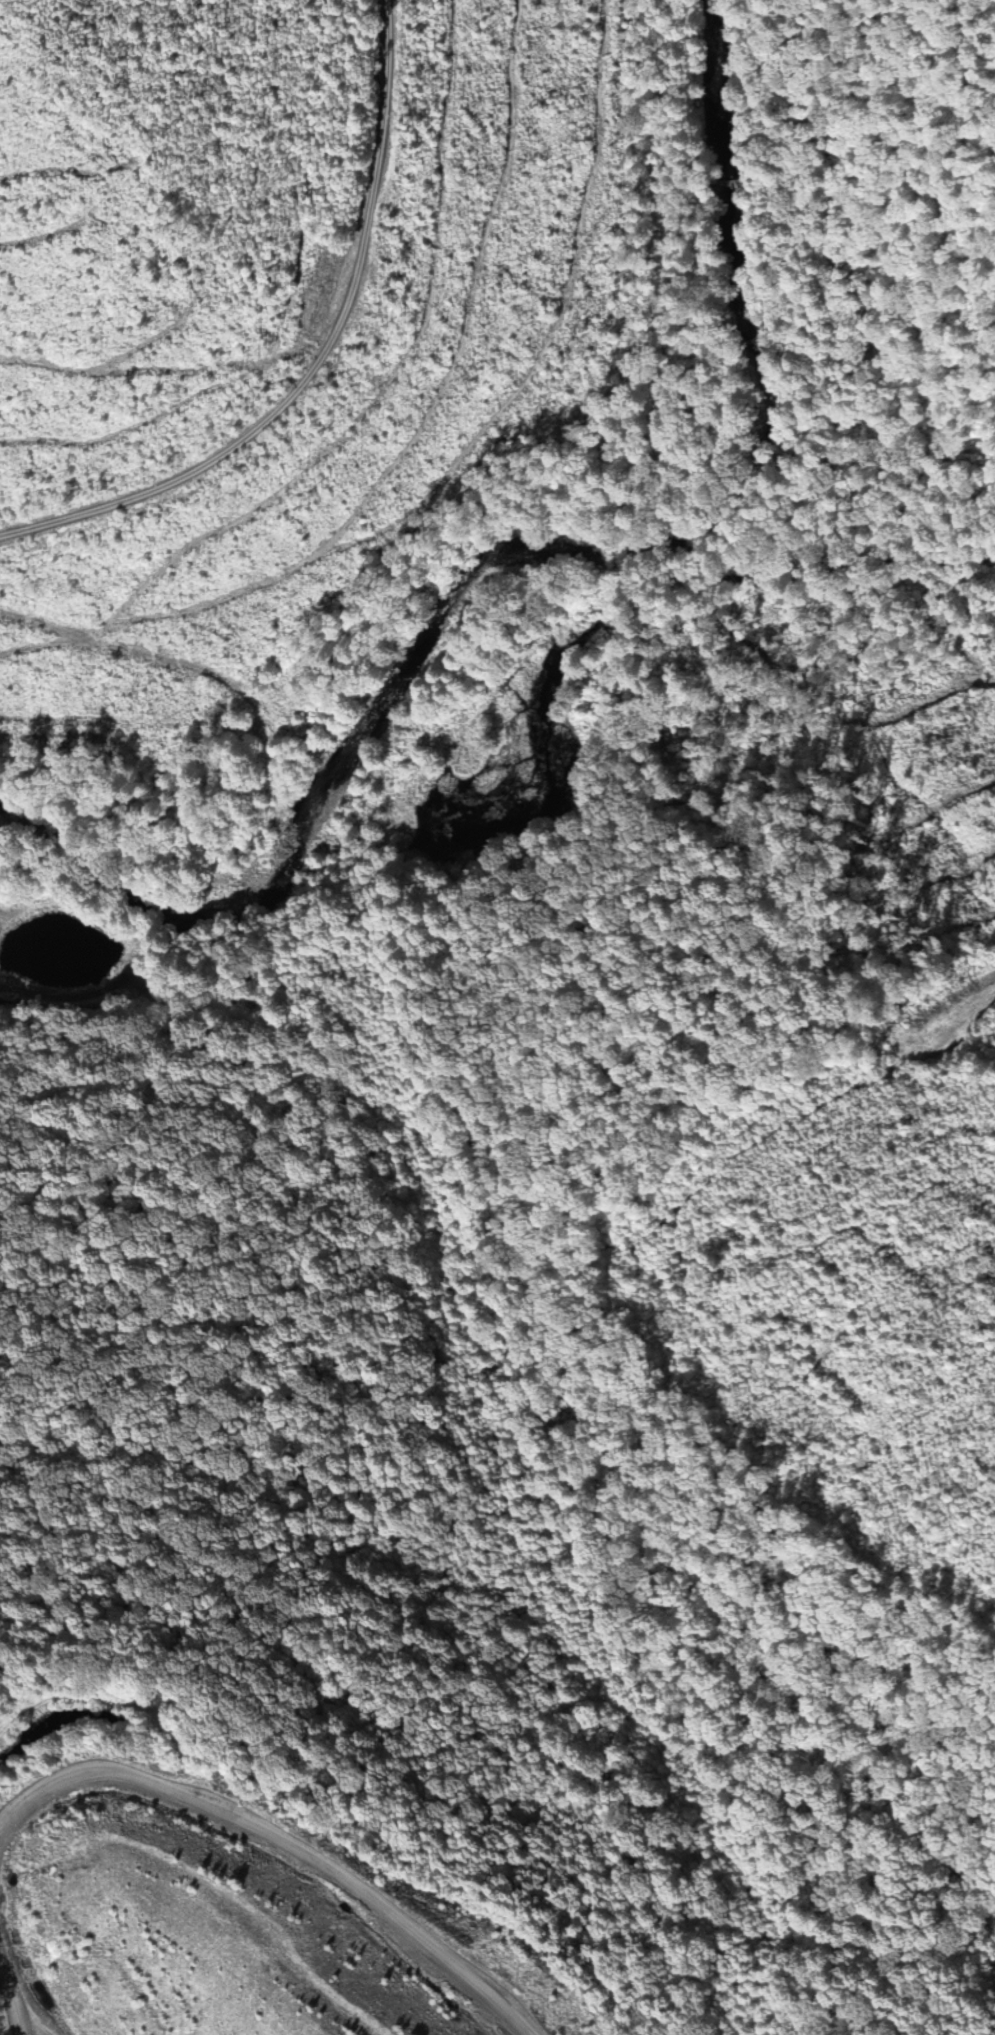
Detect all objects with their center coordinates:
road: (311, 384)
building: (304, 717)
road: (138, 1824)

